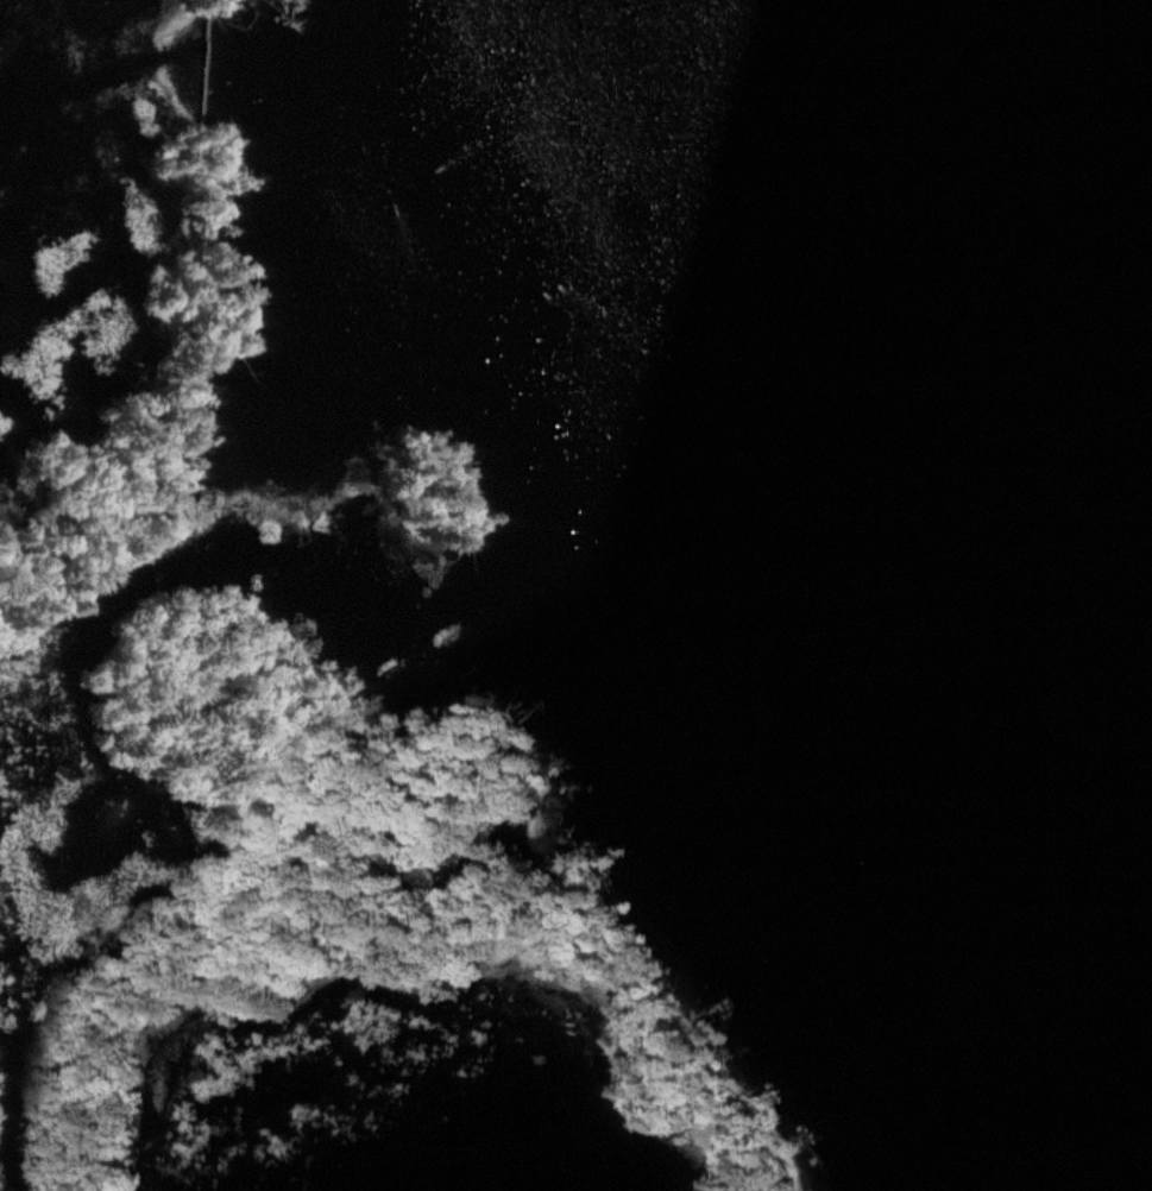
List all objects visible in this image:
road: (204, 62)
road: (174, 396)
park: (232, 680)

